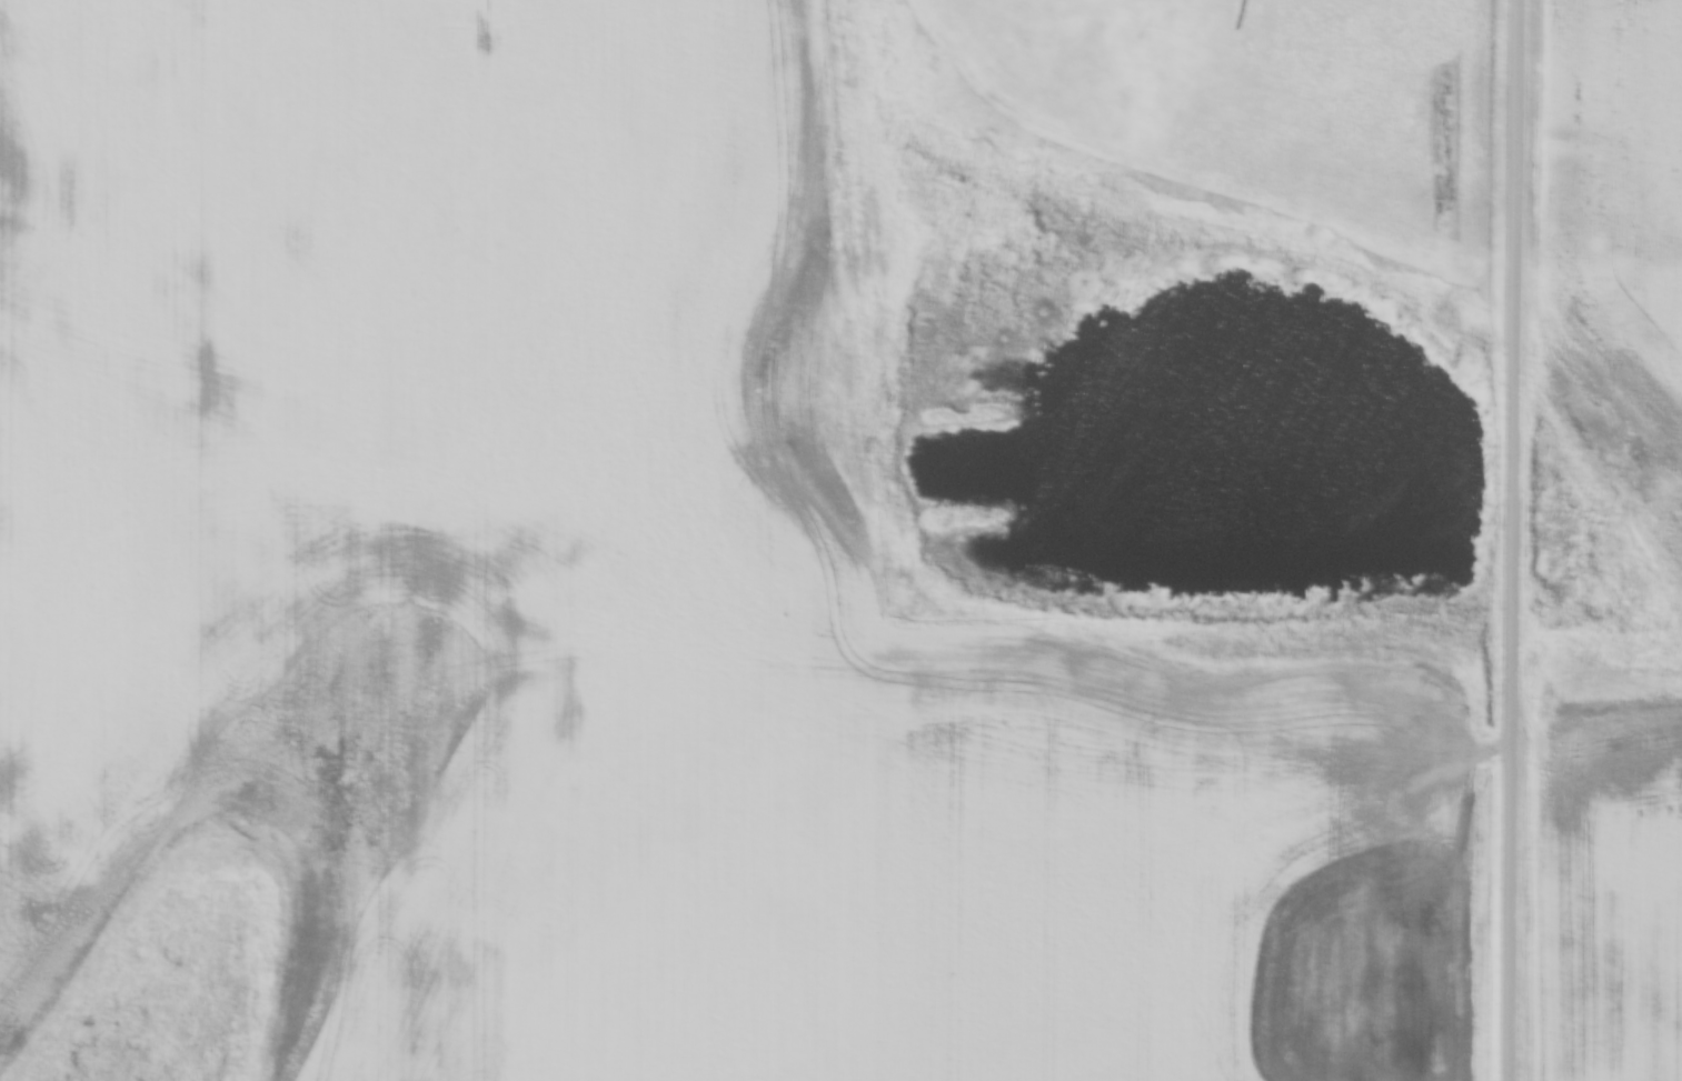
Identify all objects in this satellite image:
road: (1516, 540)

